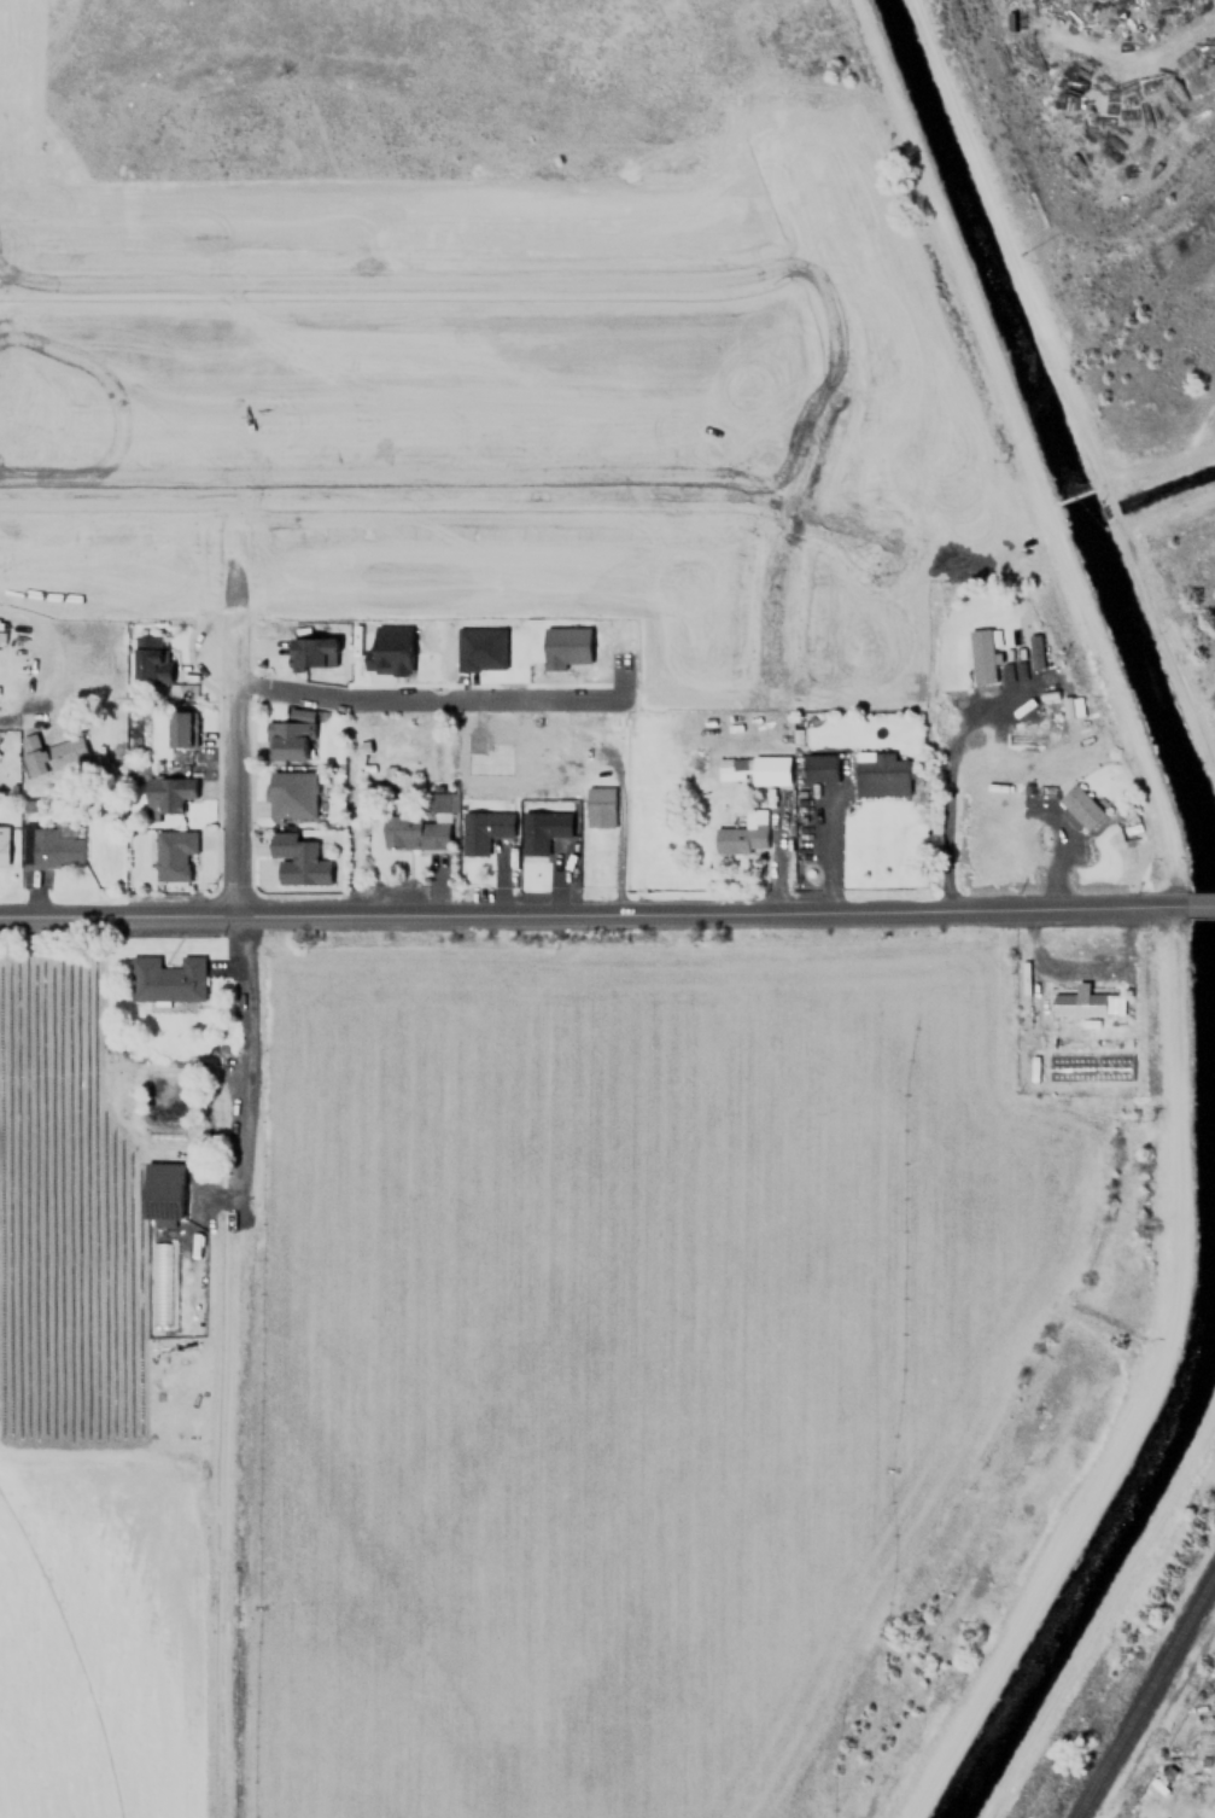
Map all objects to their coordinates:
building: (27, 138)
building: (314, 645)
building: (567, 646)
building: (389, 648)
building: (481, 648)
building: (1035, 651)
building: (980, 655)
building: (150, 659)
road: (442, 698)
building: (1074, 707)
building: (177, 738)
building: (282, 742)
building: (53, 754)
building: (759, 768)
building: (819, 768)
building: (883, 774)
road: (233, 776)
building: (168, 793)
building: (291, 794)
building: (443, 802)
building: (1076, 803)
building: (598, 806)
building: (481, 829)
building: (541, 831)
building: (414, 832)
building: (742, 834)
building: (2, 843)
building: (49, 845)
building: (174, 855)
building: (296, 861)
road: (607, 910)
building: (165, 979)
building: (1083, 1002)
building: (160, 1204)
building: (156, 1283)
crop: (58, 1680)
railway: (1144, 1695)
building: (1164, 1775)

